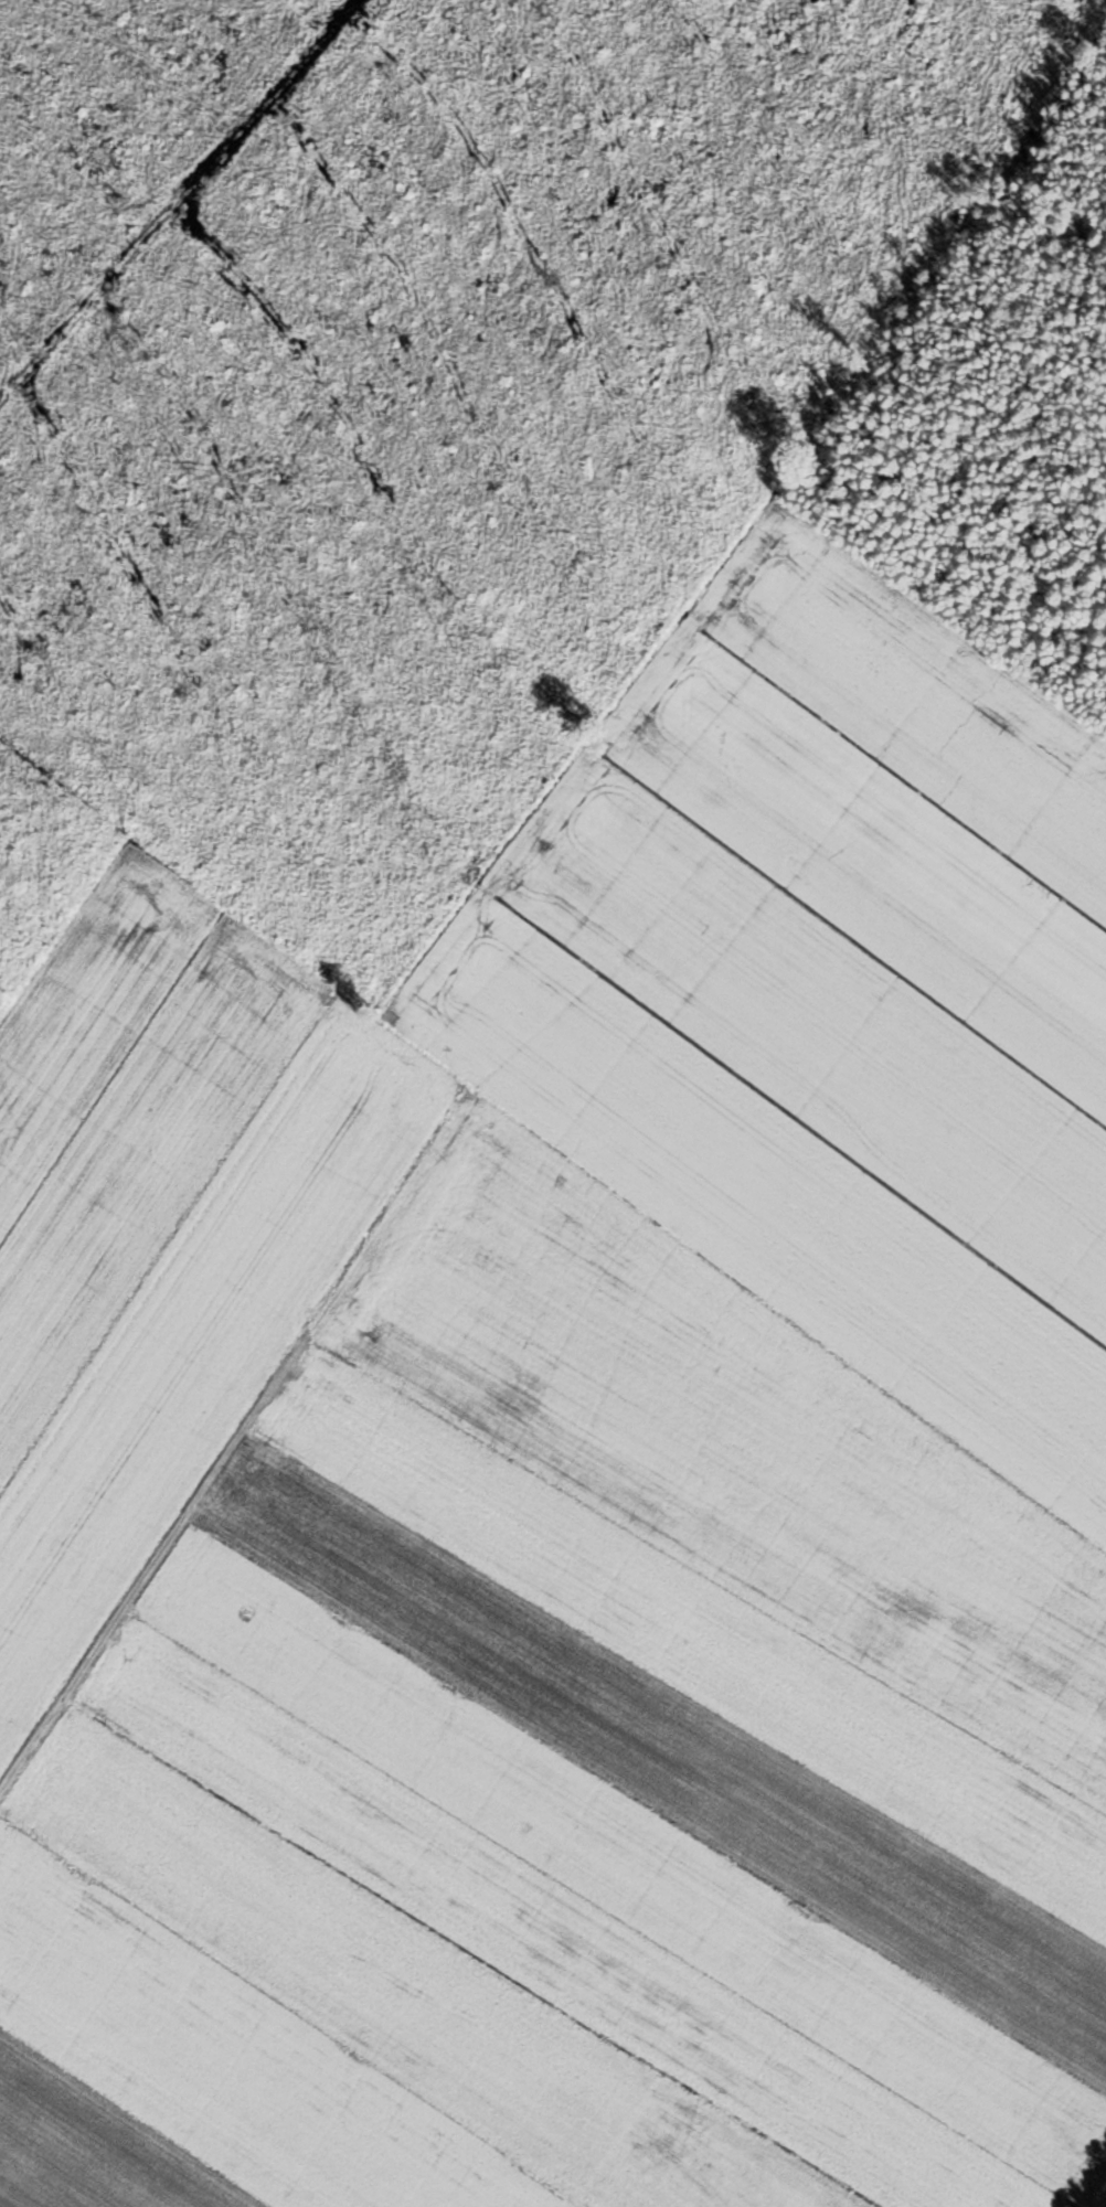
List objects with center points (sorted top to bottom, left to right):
road: (32, 1757)

